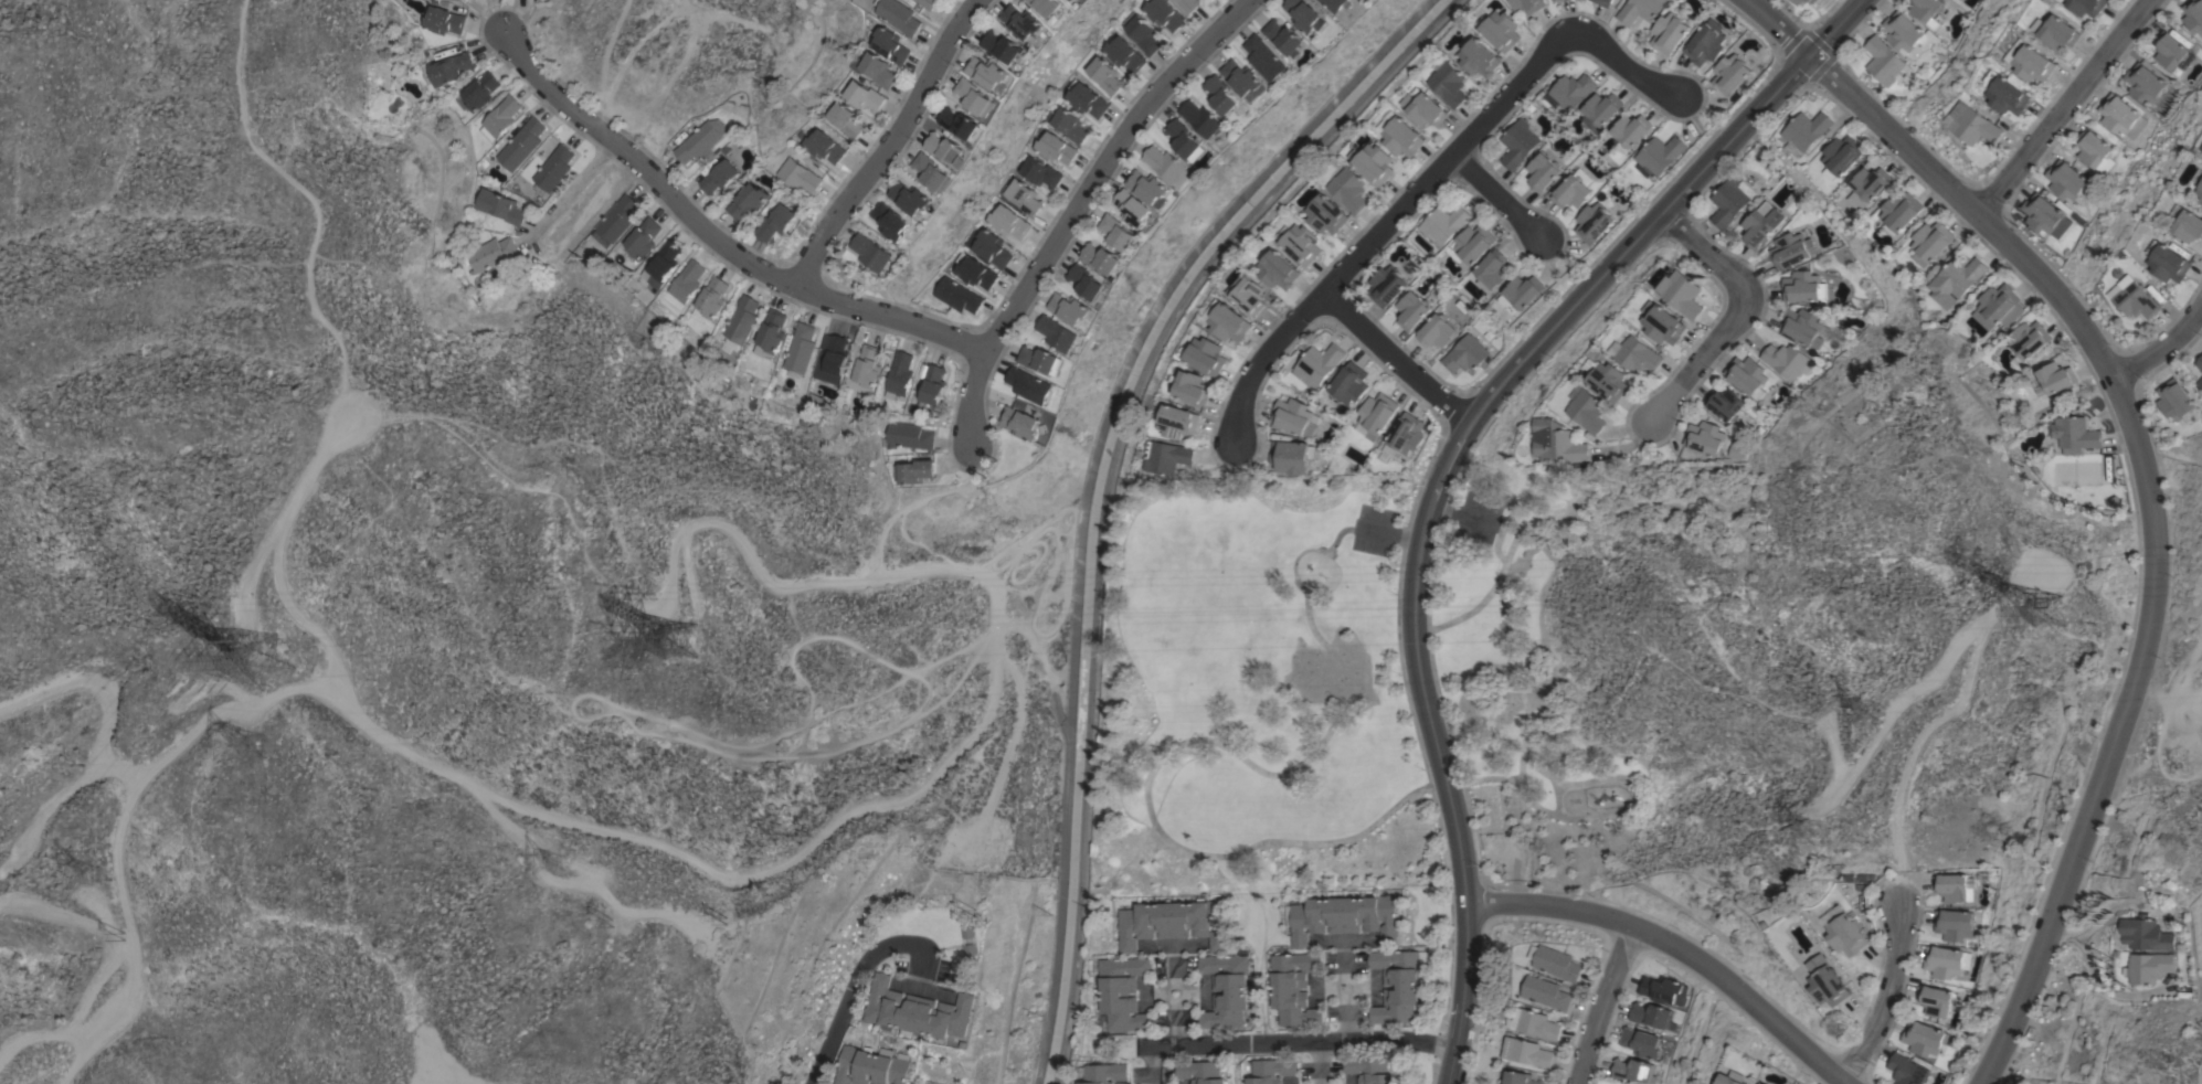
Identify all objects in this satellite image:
building: (1070, 0)
building: (1558, 0)
building: (1806, 0)
building: (1812, 0)
building: (1817, 0)
building: (1798, 1)
building: (1603, 2)
building: (928, 3)
building: (1188, 4)
building: (1335, 4)
building: (1526, 6)
building: (2088, 7)
building: (1049, 8)
building: (1639, 10)
building: (1927, 11)
building: (1164, 14)
building: (898, 15)
building: (1306, 15)
building: (2193, 15)
building: (443, 20)
power tower: (753, 22)
building: (1023, 22)
road: (1780, 26)
road: (1833, 26)
building: (1501, 31)
building: (1142, 32)
building: (1669, 32)
building: (1905, 32)
building: (2061, 32)
building: (1285, 36)
building: (1706, 43)
building: (889, 44)
building: (1003, 45)
building: (2172, 52)
building: (1123, 54)
building: (1266, 57)
building: (1479, 57)
building: (1883, 61)
building: (2033, 63)
road: (1624, 65)
building: (452, 67)
building: (872, 68)
building: (987, 72)
building: (1730, 74)
building: (1104, 75)
building: (1245, 79)
building: (2145, 83)
building: (1449, 84)
building: (480, 91)
building: (1570, 91)
building: (1221, 95)
building: (862, 96)
building: (2009, 96)
building: (975, 97)
building: (1086, 100)
road: (2064, 105)
building: (1423, 108)
building: (1601, 110)
building: (2121, 116)
building: (499, 117)
building: (1203, 117)
building: (846, 119)
building: (962, 124)
building: (1070, 125)
building: (1975, 125)
building: (1630, 131)
building: (1806, 132)
building: (1402, 137)
building: (1184, 138)
building: (701, 141)
road: (891, 141)
building: (521, 144)
building: (1518, 144)
building: (824, 147)
building: (946, 148)
building: (1055, 148)
building: (2094, 151)
building: (1659, 155)
building: (1841, 156)
building: (1374, 163)
building: (1168, 164)
building: (554, 168)
building: (798, 172)
building: (933, 172)
building: (1040, 172)
building: (1543, 172)
building: (720, 177)
building: (2199, 178)
building: (2065, 180)
building: (1868, 185)
building: (1150, 187)
road: (575, 189)
building: (1349, 189)
building: (2200, 190)
building: (1571, 192)
building: (911, 196)
building: (1024, 196)
road: (1497, 198)
building: (2201, 200)
building: (748, 201)
building: (1730, 201)
building: (499, 205)
road: (1073, 206)
building: (1134, 208)
building: (1902, 211)
building: (1326, 214)
building: (2044, 215)
building: (618, 217)
building: (891, 221)
building: (1008, 222)
building: (1594, 222)
building: (776, 223)
building: (1444, 223)
building: (1761, 224)
building: (2190, 225)
road: (1380, 227)
building: (1119, 232)
road: (714, 236)
building: (643, 237)
building: (1300, 242)
building: (1933, 242)
building: (1472, 245)
power tower: (539, 247)
building: (992, 248)
building: (1791, 249)
building: (871, 252)
building: (489, 253)
building: (1102, 257)
building: (661, 264)
building: (2169, 264)
building: (1278, 269)
building: (1493, 270)
building: (976, 273)
building: (686, 280)
building: (1957, 280)
building: (1088, 281)
building: (1387, 285)
building: (1803, 287)
building: (1249, 294)
building: (1522, 294)
building: (1682, 294)
building: (957, 295)
building: (2134, 298)
building: (709, 299)
building: (2000, 306)
building: (1070, 308)
building: (1412, 310)
road: (1738, 311)
building: (739, 322)
building: (1230, 322)
building: (1662, 322)
building: (1802, 326)
building: (1437, 331)
building: (770, 333)
building: (1058, 333)
building: (2030, 338)
road: (2162, 347)
building: (800, 350)
road: (1394, 352)
building: (1465, 354)
building: (1638, 354)
building: (1207, 355)
building: (830, 358)
building: (1041, 359)
building: (1786, 360)
building: (1320, 362)
building: (2199, 362)
building: (864, 370)
building: (899, 374)
building: (1746, 374)
building: (2055, 378)
building: (1610, 381)
building: (1349, 383)
building: (2199, 383)
building: (933, 385)
building: (1030, 385)
building: (1193, 387)
building: (2173, 400)
building: (1724, 403)
building: (1589, 411)
building: (1377, 414)
building: (1294, 416)
road: (1463, 418)
building: (1021, 419)
building: (1178, 422)
building: (1365, 432)
building: (2074, 434)
building: (907, 436)
building: (1405, 437)
building: (1705, 437)
building: (1560, 443)
building: (1733, 453)
building: (1167, 456)
building: (1293, 456)
building: (913, 471)
road: (914, 499)
road: (2156, 520)
road: (2009, 598)
power tower: (2047, 618)
power tower: (215, 621)
power tower: (682, 642)
power tower: (255, 652)
road: (1972, 658)
road: (1188, 680)
park: (1523, 687)
park: (1259, 691)
power tower: (1876, 713)
power tower: (258, 748)
road: (1401, 794)
power tower: (1823, 823)
power tower: (552, 860)
road: (788, 860)
power tower: (95, 870)
building: (1952, 886)
road: (2113, 905)
building: (1345, 917)
building: (1173, 922)
building: (1954, 924)
building: (2143, 933)
building: (1848, 934)
building: (971, 940)
road: (1260, 944)
road: (1677, 949)
building: (1942, 960)
road: (1344, 961)
building: (1558, 964)
building: (2148, 967)
road: (1175, 976)
road: (856, 977)
road: (2097, 980)
building: (1828, 981)
road: (1345, 982)
building: (1396, 985)
building: (1294, 988)
road: (1175, 989)
building: (1663, 989)
building: (1226, 990)
building: (1546, 991)
building: (1123, 992)
road: (1465, 996)
road: (1885, 996)
building: (1935, 1000)
road: (1607, 1005)
building: (918, 1010)
building: (1650, 1014)
road: (1347, 1019)
road: (1175, 1022)
building: (1536, 1023)
building: (1924, 1038)
road: (1287, 1041)
building: (1640, 1042)
building: (1528, 1052)
road: (1320, 1061)
building: (871, 1066)
building: (1368, 1069)
building: (1271, 1070)
building: (1906, 1070)
building: (1632, 1071)
building: (1200, 1072)
building: (1103, 1073)
building: (1523, 1078)
building: (1729, 1080)
building: (911, 1083)
building: (914, 1083)
road: (1320, 1083)
building: (1760, 1083)
building: (1765, 1083)

